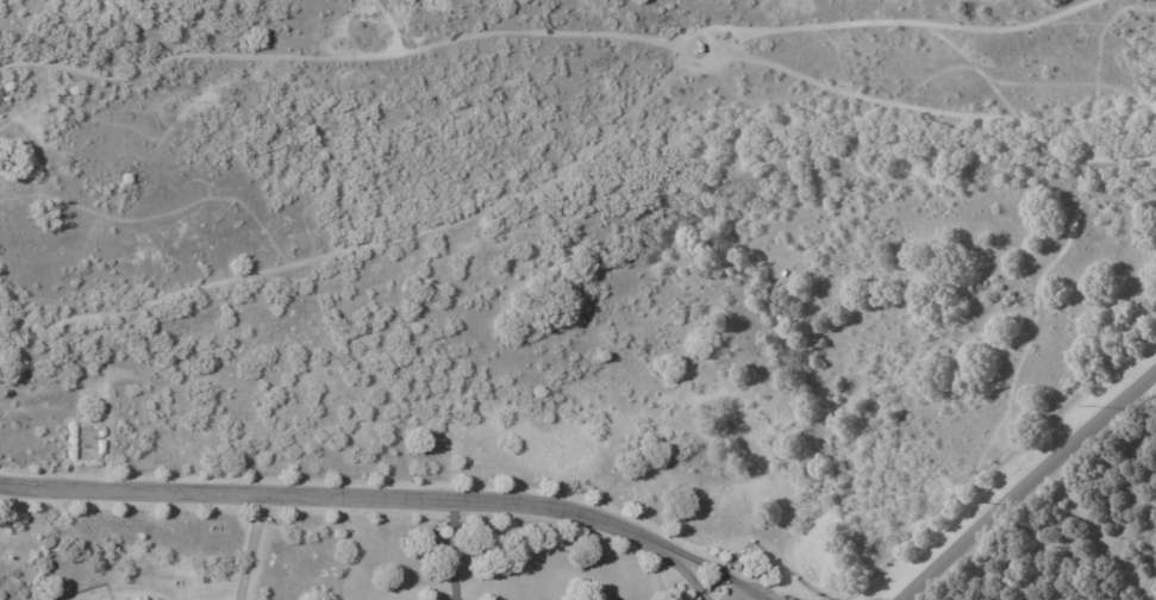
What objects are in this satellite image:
road: (1027, 483)
road: (344, 498)
road: (249, 548)
road: (450, 550)
road: (704, 564)
road: (741, 594)

